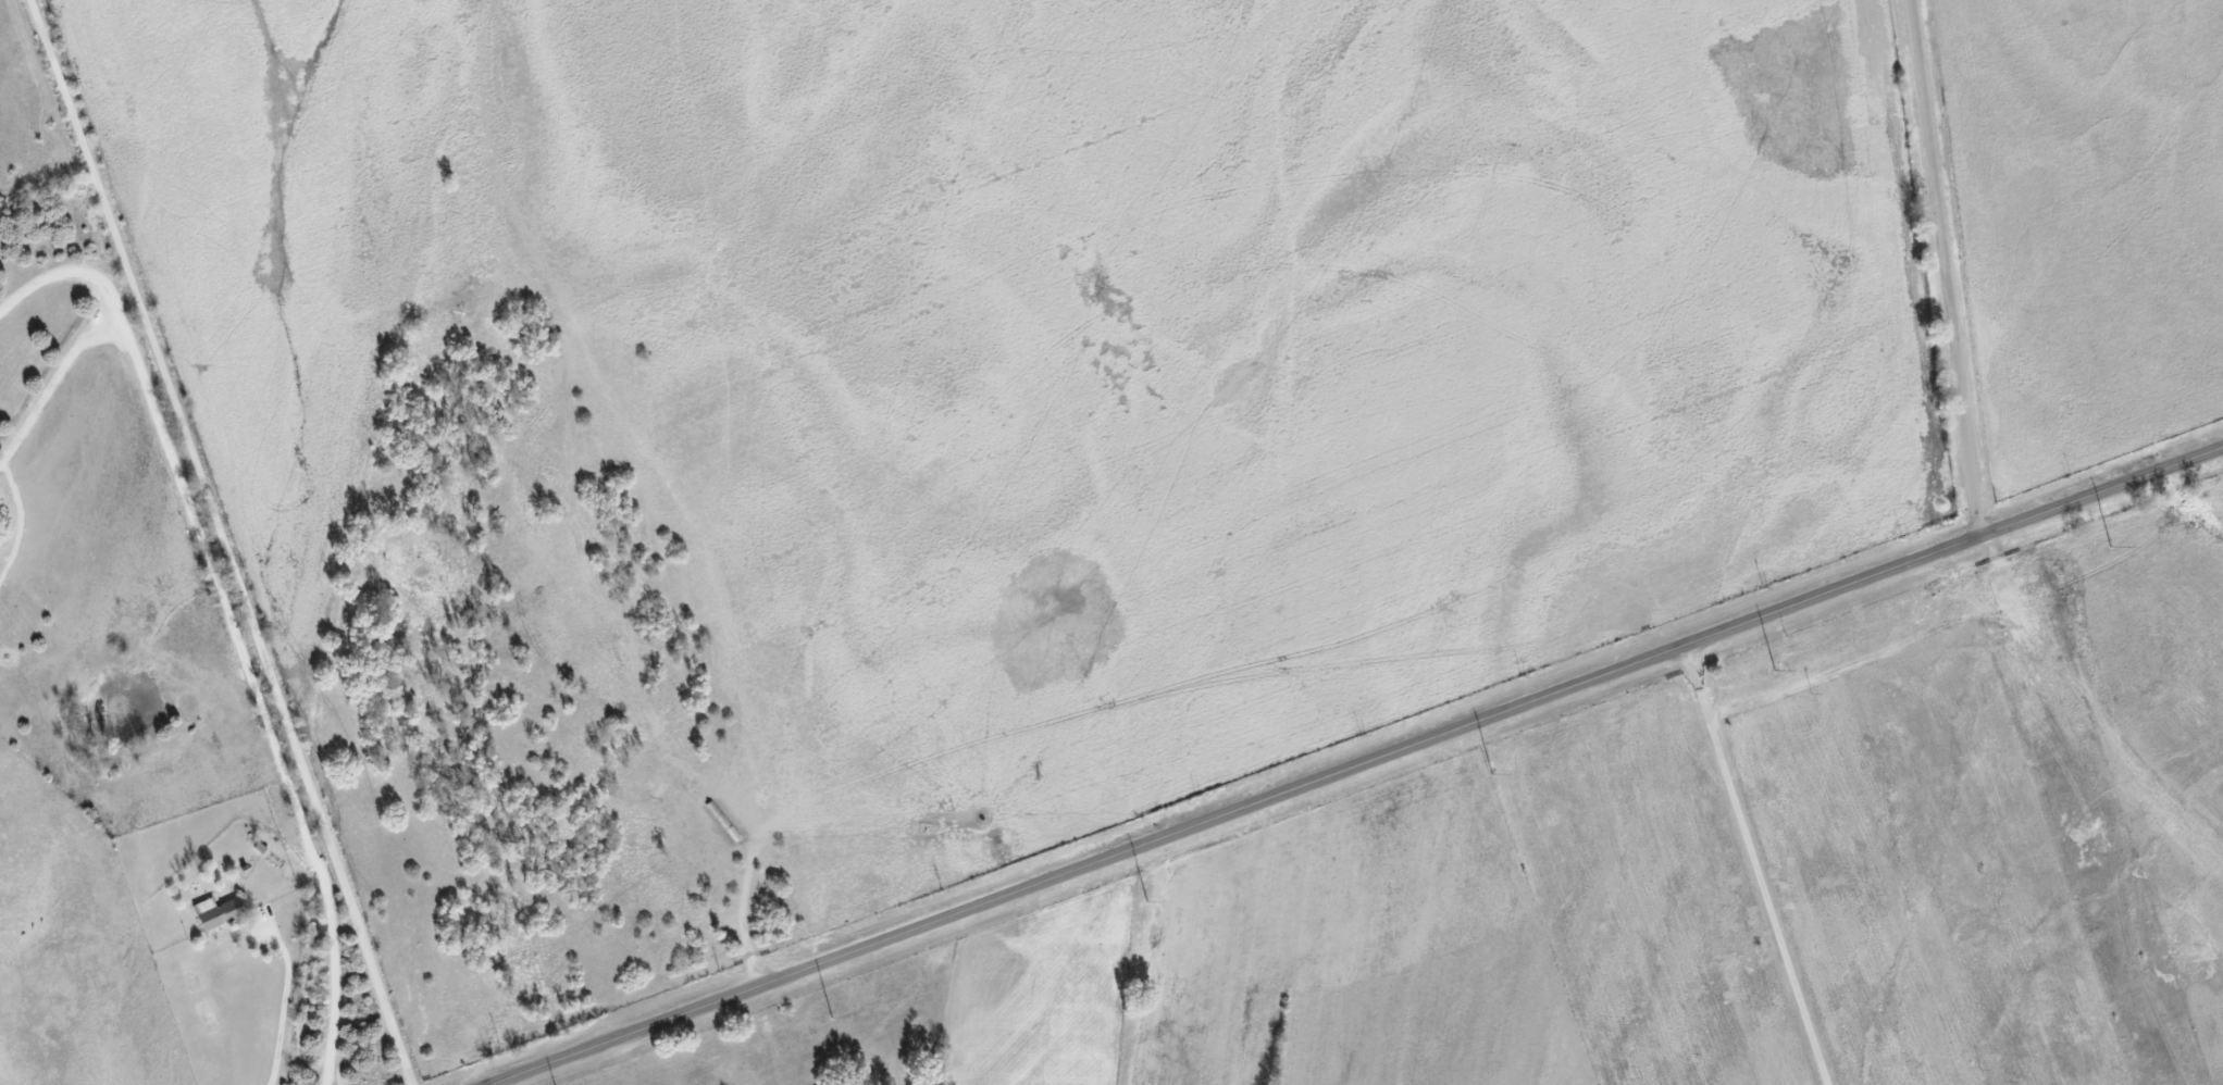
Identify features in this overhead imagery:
road: (1946, 267)
road: (73, 274)
road: (48, 377)
road: (220, 541)
power tower: (2110, 548)
power tower: (1772, 671)
road: (256, 706)
road: (1355, 766)
power tower: (1489, 775)
road: (1767, 863)
power tower: (1144, 902)
building: (220, 911)
road: (743, 916)
road: (280, 1002)
power tower: (830, 1021)
road: (501, 1082)

